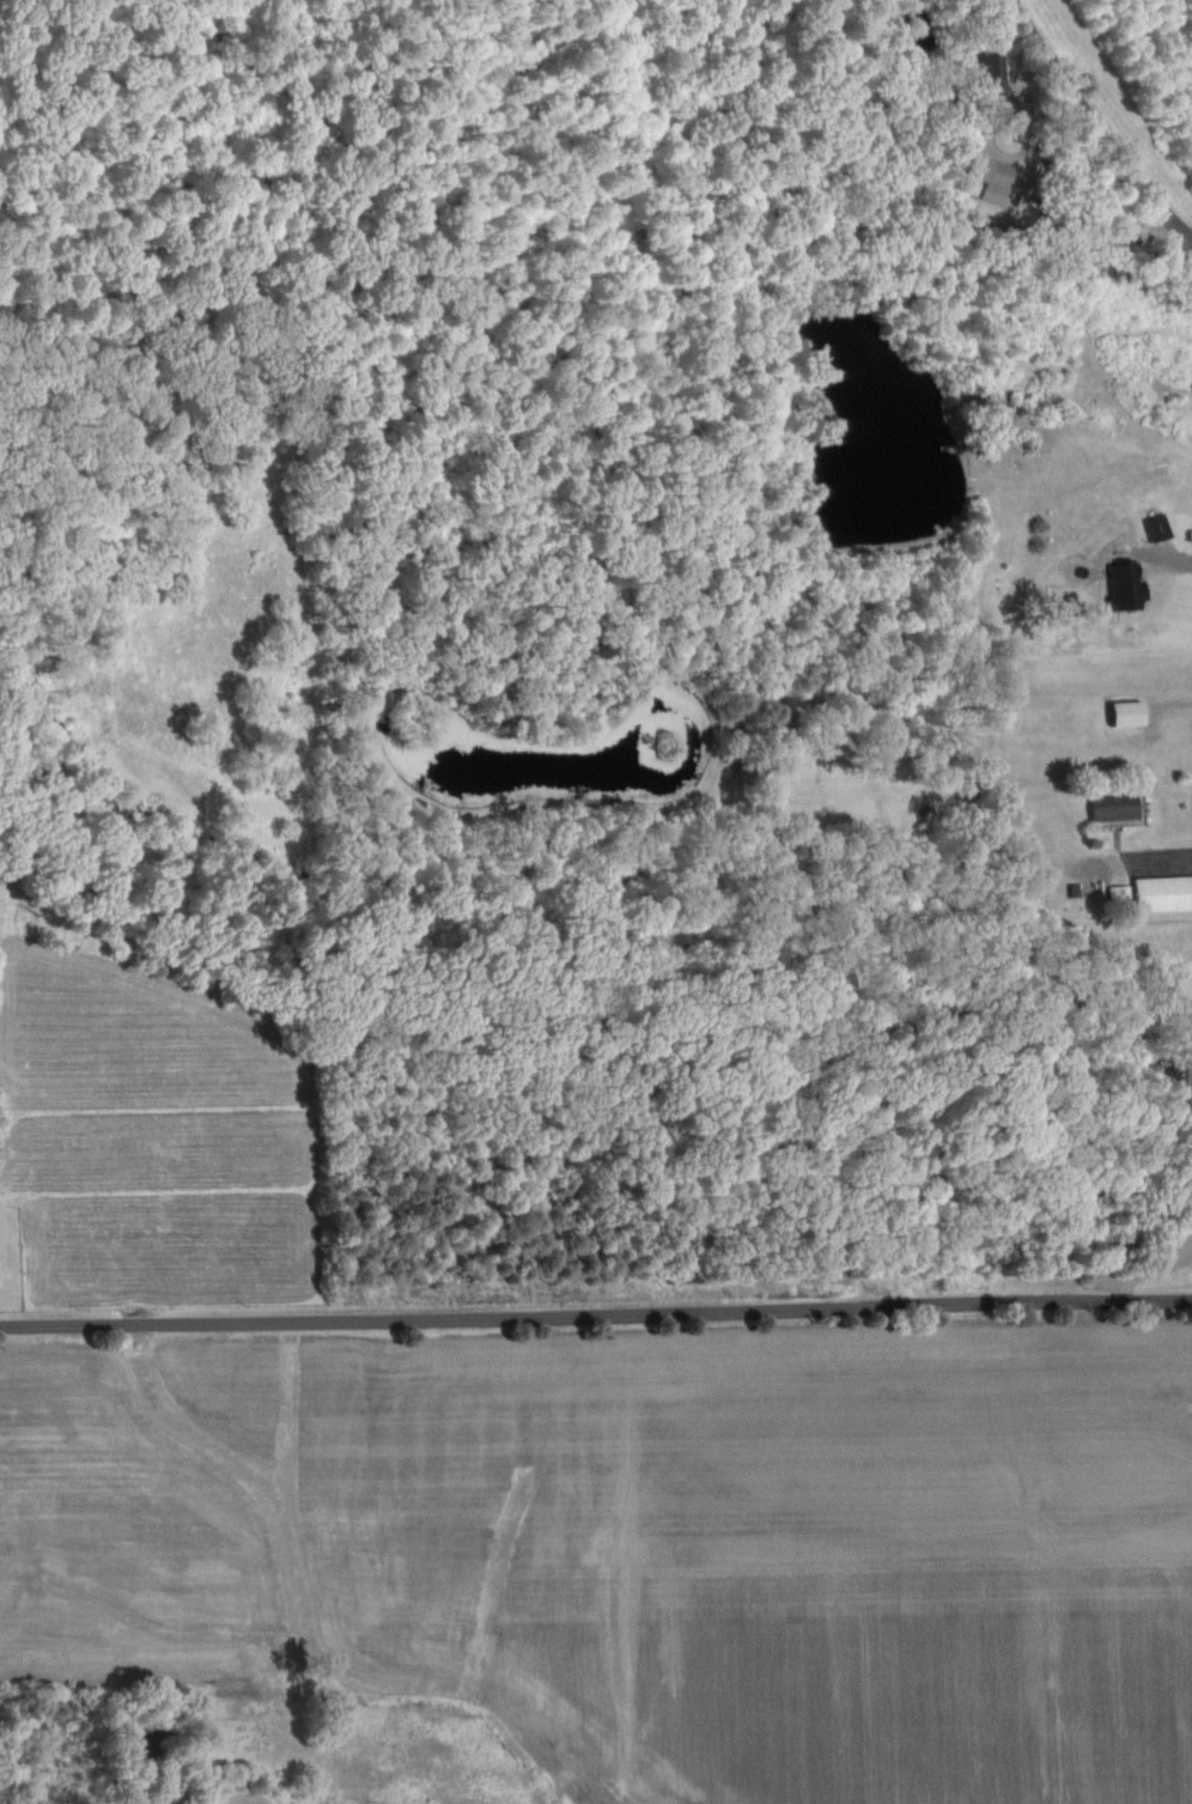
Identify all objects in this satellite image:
road: (1095, 119)
building: (995, 182)
road: (1176, 560)
building: (1121, 587)
road: (1179, 696)
building: (1123, 713)
building: (1109, 809)
road: (1180, 843)
building: (1157, 893)
building: (1191, 1205)
road: (596, 1320)

